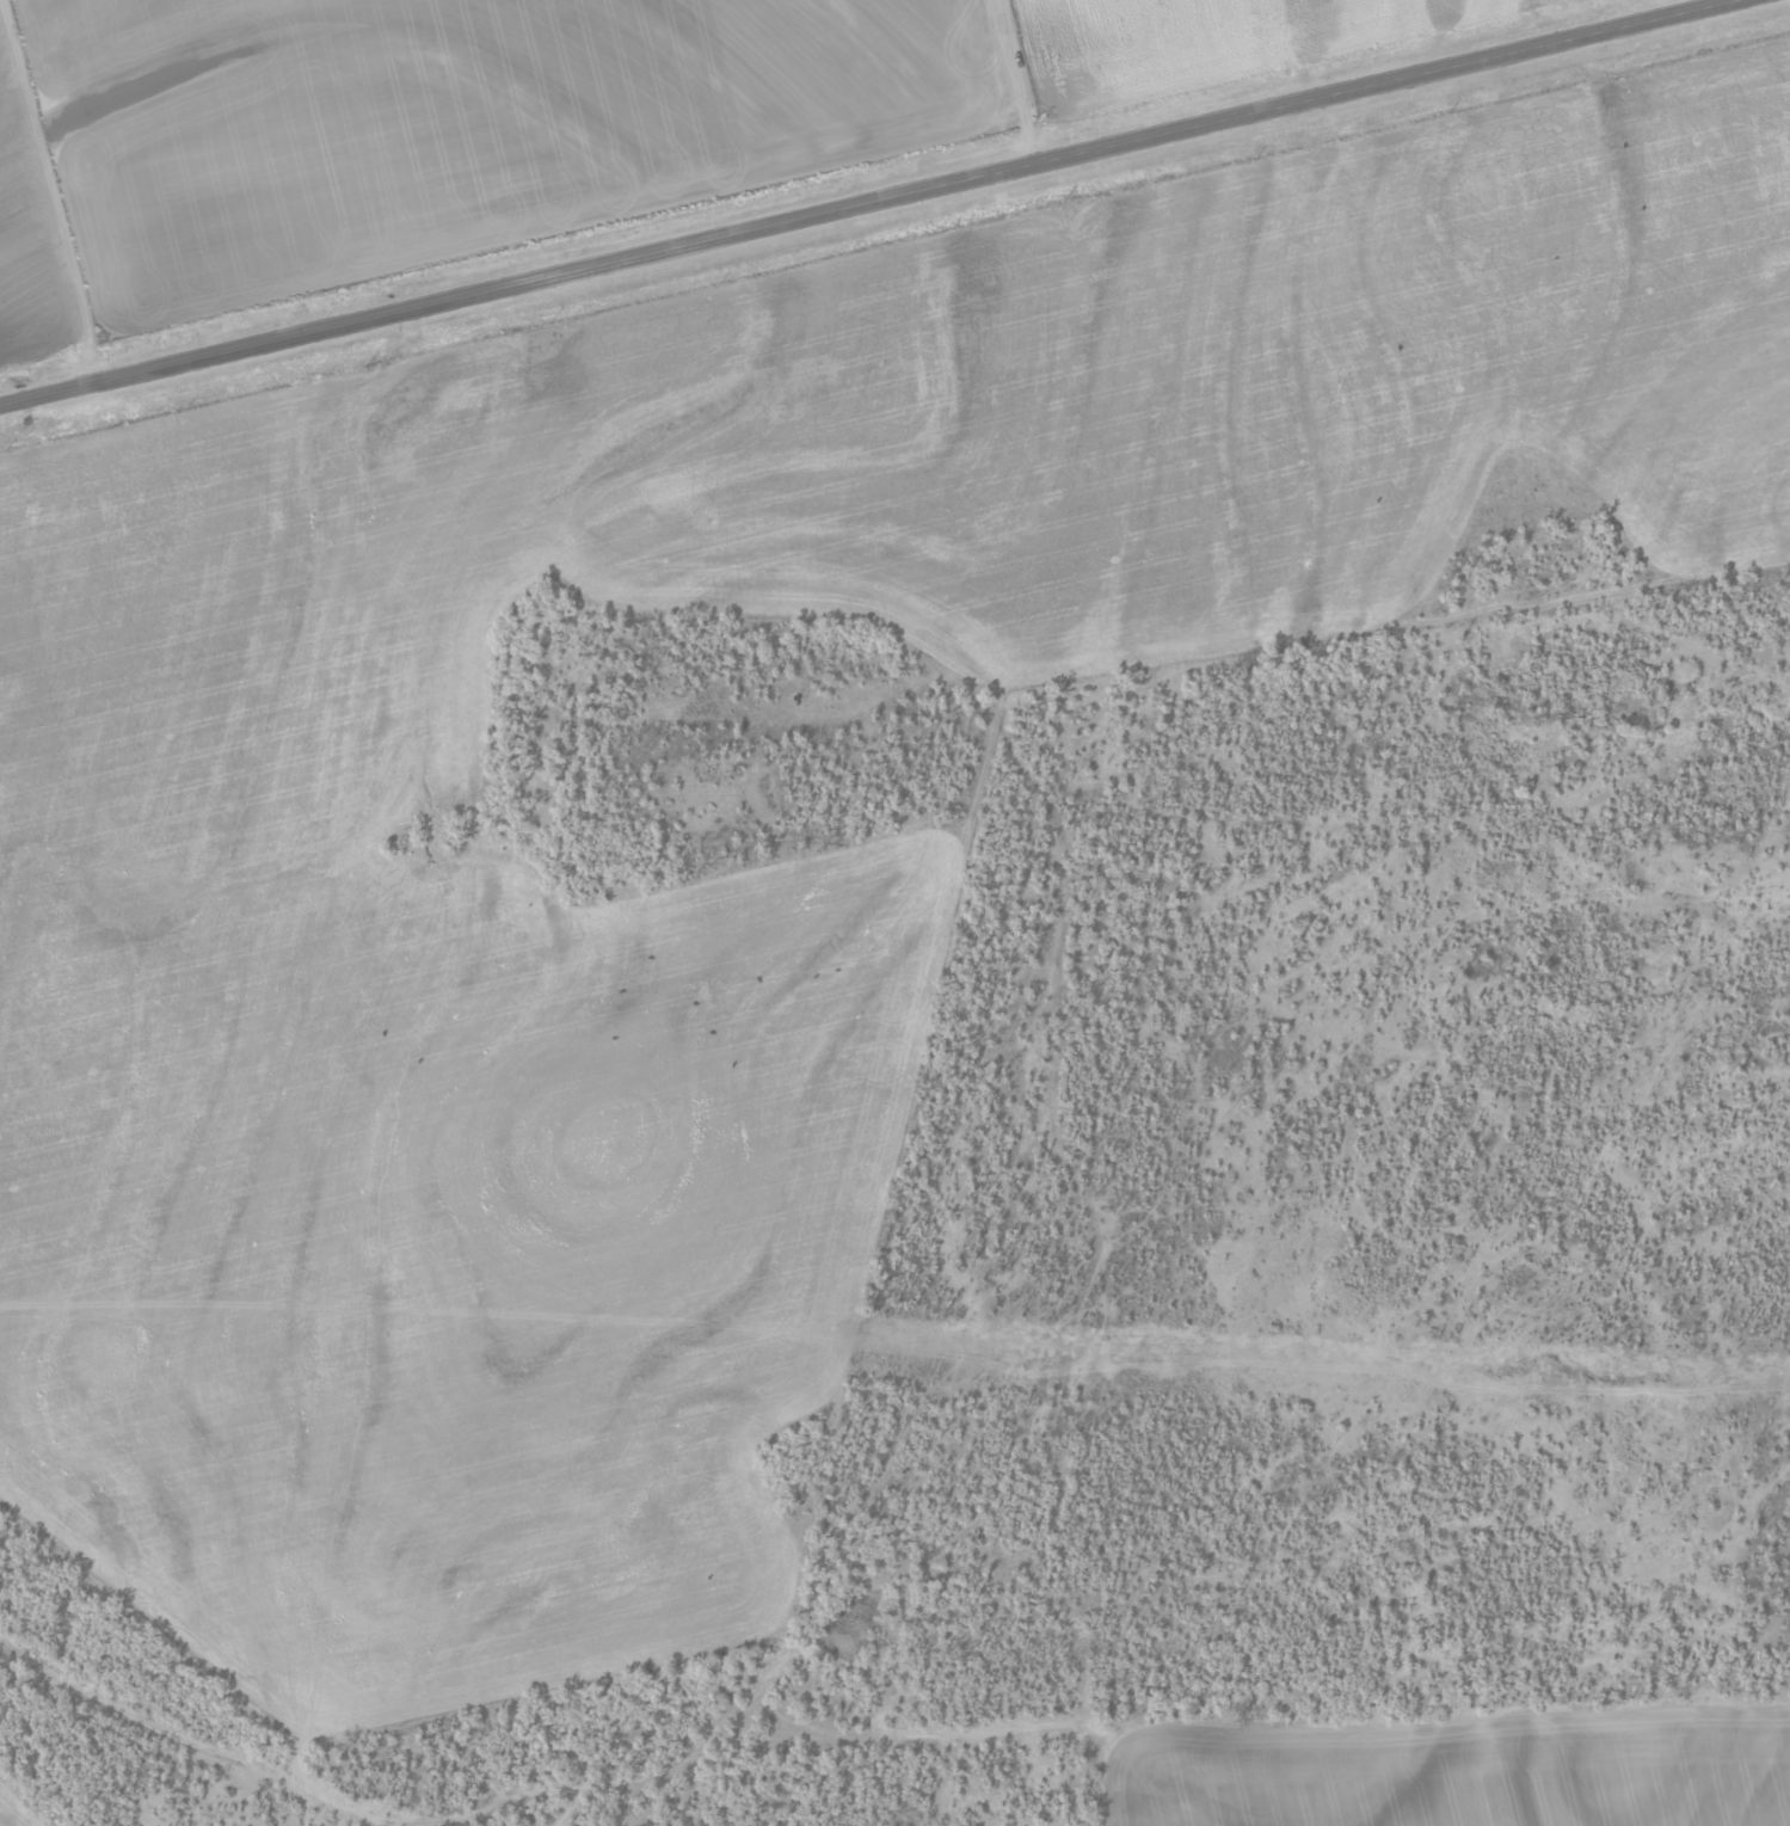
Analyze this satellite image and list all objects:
road: (917, 184)
road: (59, 191)
road: (51, 394)

